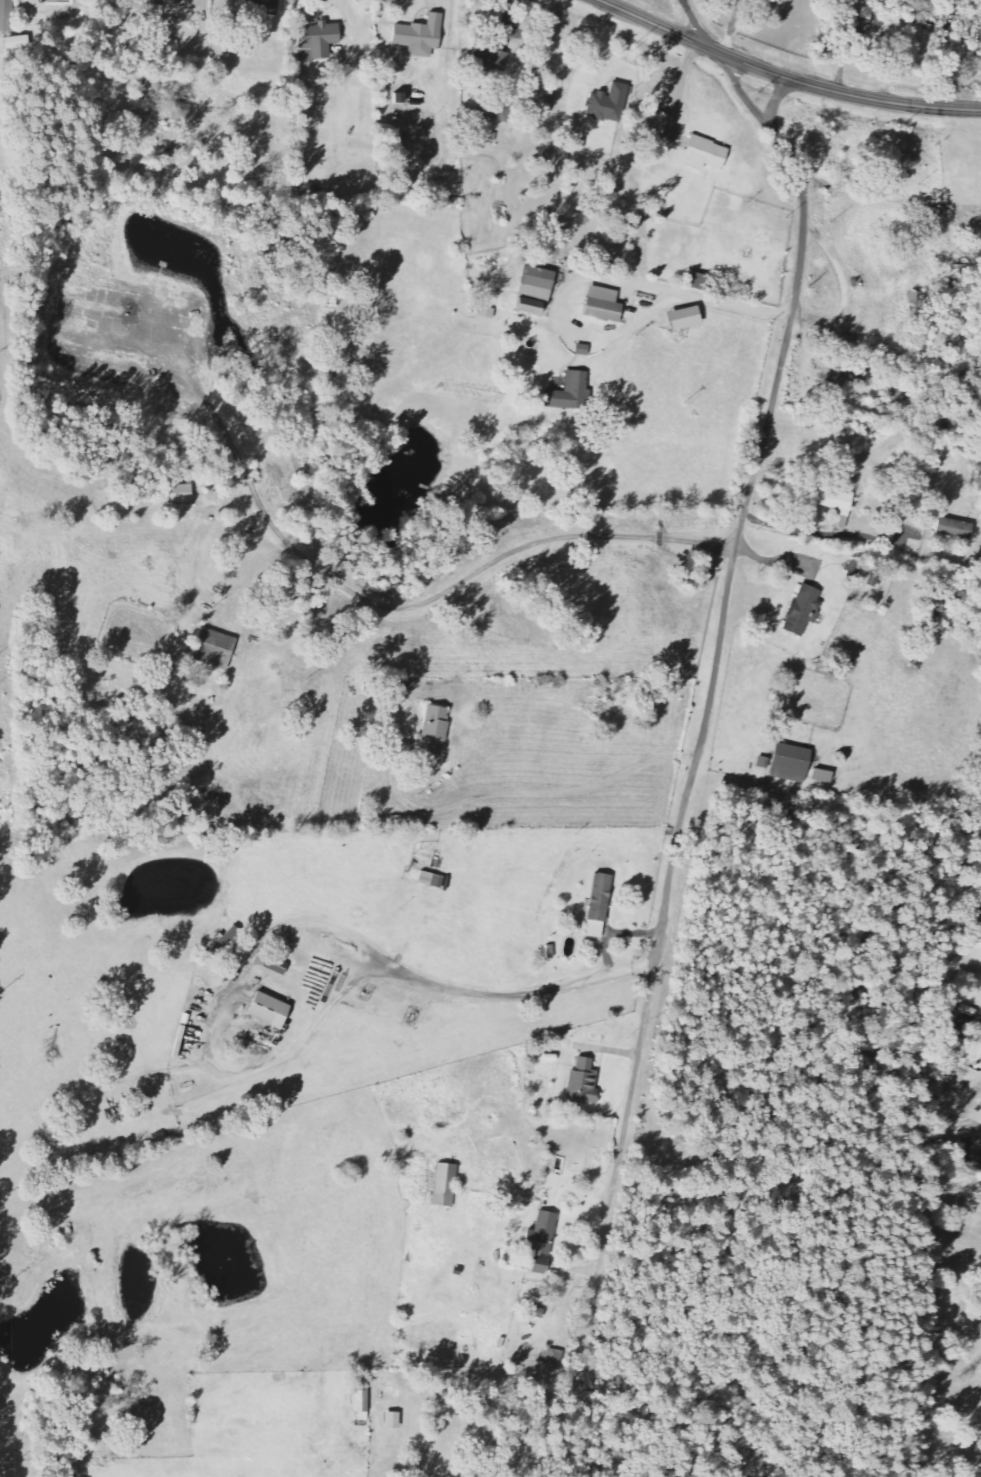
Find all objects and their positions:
building: (161, 2)
building: (239, 6)
building: (268, 7)
building: (7, 15)
road: (694, 21)
building: (422, 36)
building: (319, 41)
building: (18, 42)
building: (490, 57)
road: (784, 76)
road: (773, 101)
building: (608, 104)
building: (183, 112)
building: (660, 125)
building: (708, 154)
road: (889, 201)
building: (960, 278)
building: (698, 280)
building: (538, 291)
building: (606, 304)
building: (488, 312)
building: (687, 318)
building: (183, 493)
building: (839, 503)
building: (956, 528)
building: (805, 608)
road: (718, 633)
building: (216, 648)
building: (435, 732)
building: (766, 762)
building: (792, 762)
building: (825, 775)
building: (601, 905)
building: (278, 965)
building: (271, 1009)
building: (585, 1082)
building: (973, 1153)
building: (447, 1184)
building: (544, 1233)
road: (590, 1301)
building: (537, 1311)
building: (555, 1358)
building: (362, 1404)
building: (394, 1420)
building: (488, 1476)

